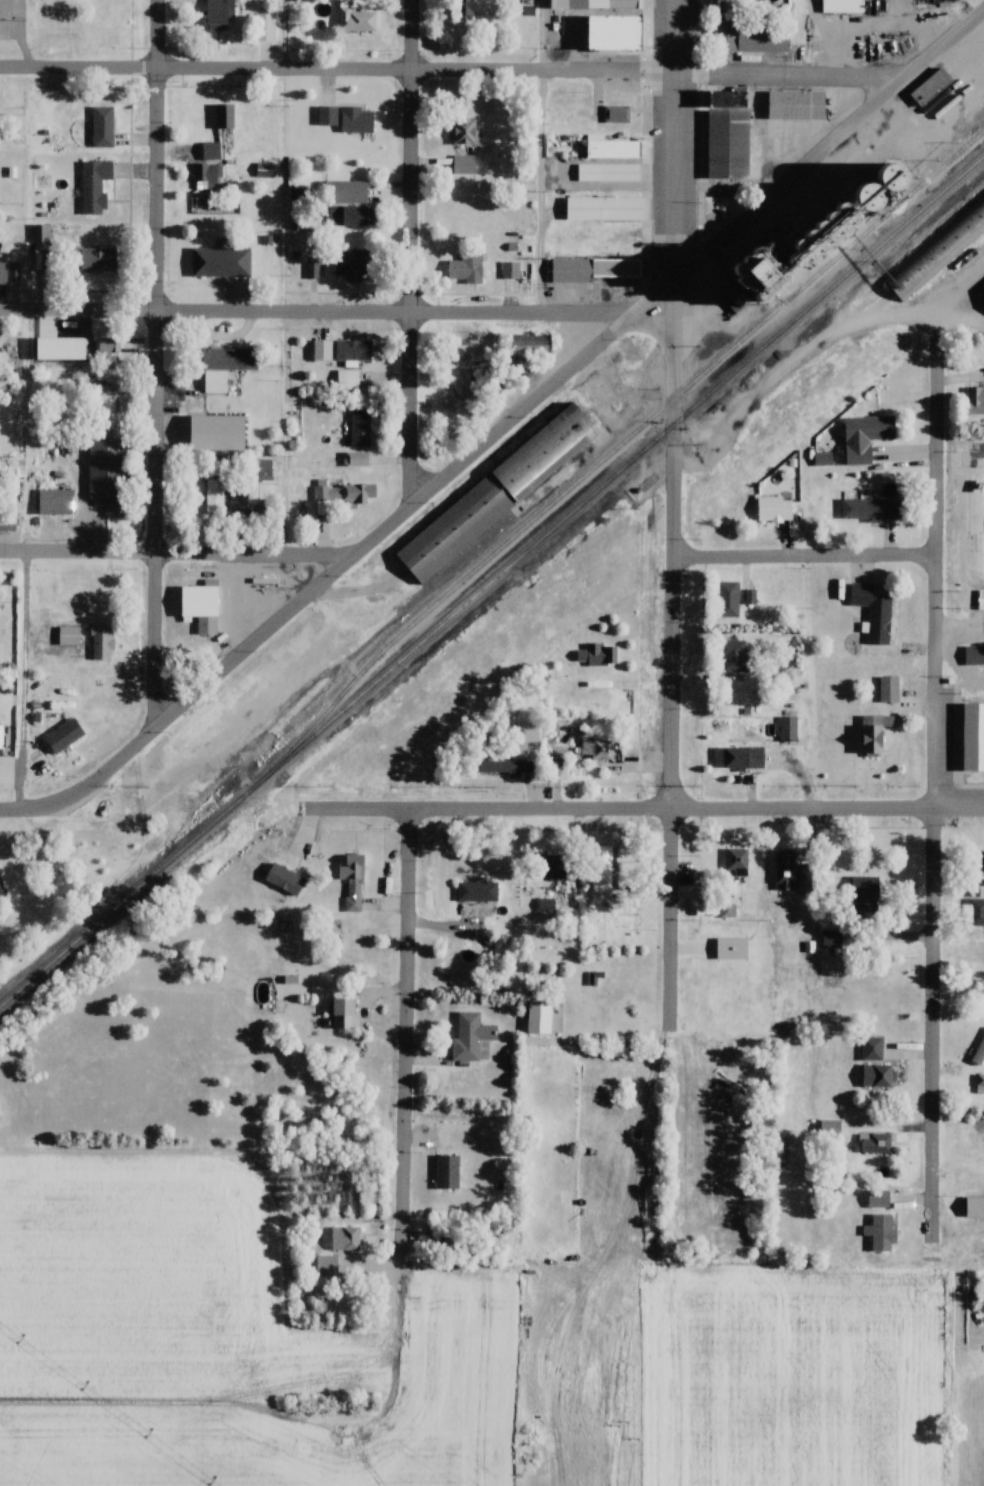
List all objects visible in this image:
building: (588, 3)
building: (843, 7)
building: (221, 12)
building: (354, 20)
building: (264, 27)
building: (616, 34)
road: (816, 37)
building: (748, 39)
road: (445, 69)
building: (931, 88)
building: (788, 105)
building: (618, 113)
building: (327, 116)
building: (224, 117)
building: (357, 121)
building: (103, 126)
building: (465, 131)
building: (729, 136)
road: (676, 139)
road: (829, 144)
building: (614, 150)
building: (210, 151)
building: (464, 165)
building: (207, 173)
building: (618, 173)
building: (95, 185)
road: (544, 191)
building: (623, 207)
building: (349, 215)
building: (43, 233)
road: (415, 248)
building: (939, 250)
building: (99, 260)
building: (221, 261)
building: (351, 262)
building: (466, 268)
building: (618, 269)
building: (510, 271)
building: (13, 272)
building: (2, 273)
road: (318, 312)
building: (531, 345)
building: (107, 347)
building: (322, 351)
building: (353, 351)
road: (818, 352)
road: (159, 364)
building: (221, 368)
building: (348, 380)
building: (974, 401)
building: (106, 412)
building: (875, 426)
building: (360, 427)
road: (286, 433)
railway: (617, 444)
building: (857, 456)
building: (358, 459)
building: (823, 460)
building: (106, 466)
building: (264, 469)
building: (341, 494)
building: (223, 495)
building: (55, 500)
building: (774, 508)
building: (870, 509)
building: (8, 518)
park: (981, 519)
building: (455, 527)
road: (675, 544)
road: (361, 550)
road: (173, 554)
road: (807, 557)
railway: (490, 580)
building: (728, 597)
building: (199, 600)
building: (874, 612)
building: (69, 635)
building: (102, 642)
building: (974, 653)
building: (734, 654)
building: (595, 655)
road: (25, 681)
building: (889, 688)
building: (787, 730)
building: (873, 734)
building: (66, 735)
building: (595, 748)
building: (735, 758)
building: (510, 767)
road: (939, 780)
road: (829, 809)
road: (490, 810)
road: (21, 811)
building: (980, 863)
building: (554, 866)
building: (737, 866)
building: (784, 870)
building: (601, 874)
building: (805, 877)
building: (285, 878)
building: (353, 882)
building: (476, 891)
building: (863, 893)
building: (546, 905)
building: (974, 909)
building: (728, 912)
road: (674, 920)
building: (333, 937)
building: (831, 939)
building: (727, 985)
building: (345, 1014)
building: (473, 1038)
road: (409, 1045)
building: (873, 1045)
building: (978, 1054)
building: (877, 1074)
building: (980, 1085)
building: (724, 1093)
building: (875, 1145)
building: (878, 1200)
building: (974, 1207)
building: (881, 1233)
building: (345, 1238)
building: (327, 1266)
crop: (157, 1286)
building: (976, 1296)
crop: (808, 1373)
crop: (467, 1374)

